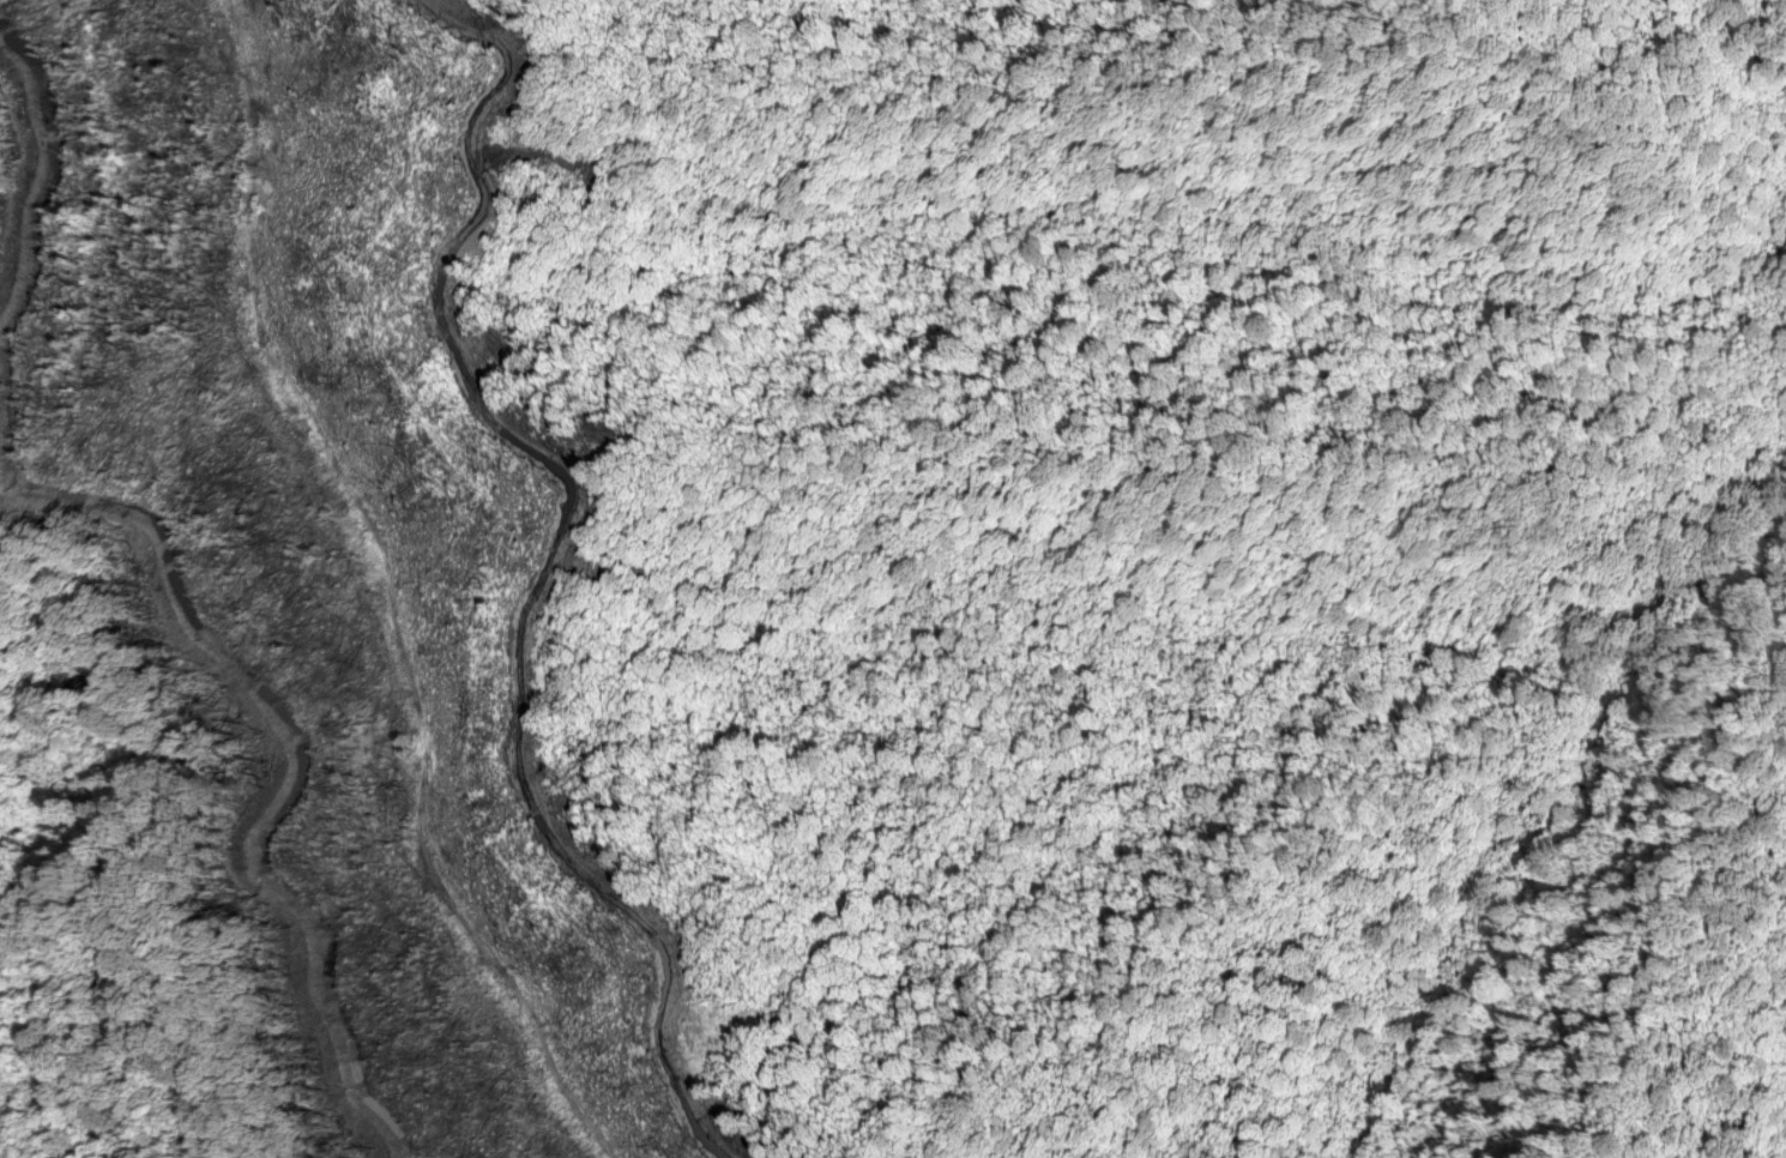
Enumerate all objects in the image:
quarry: (319, 548)

